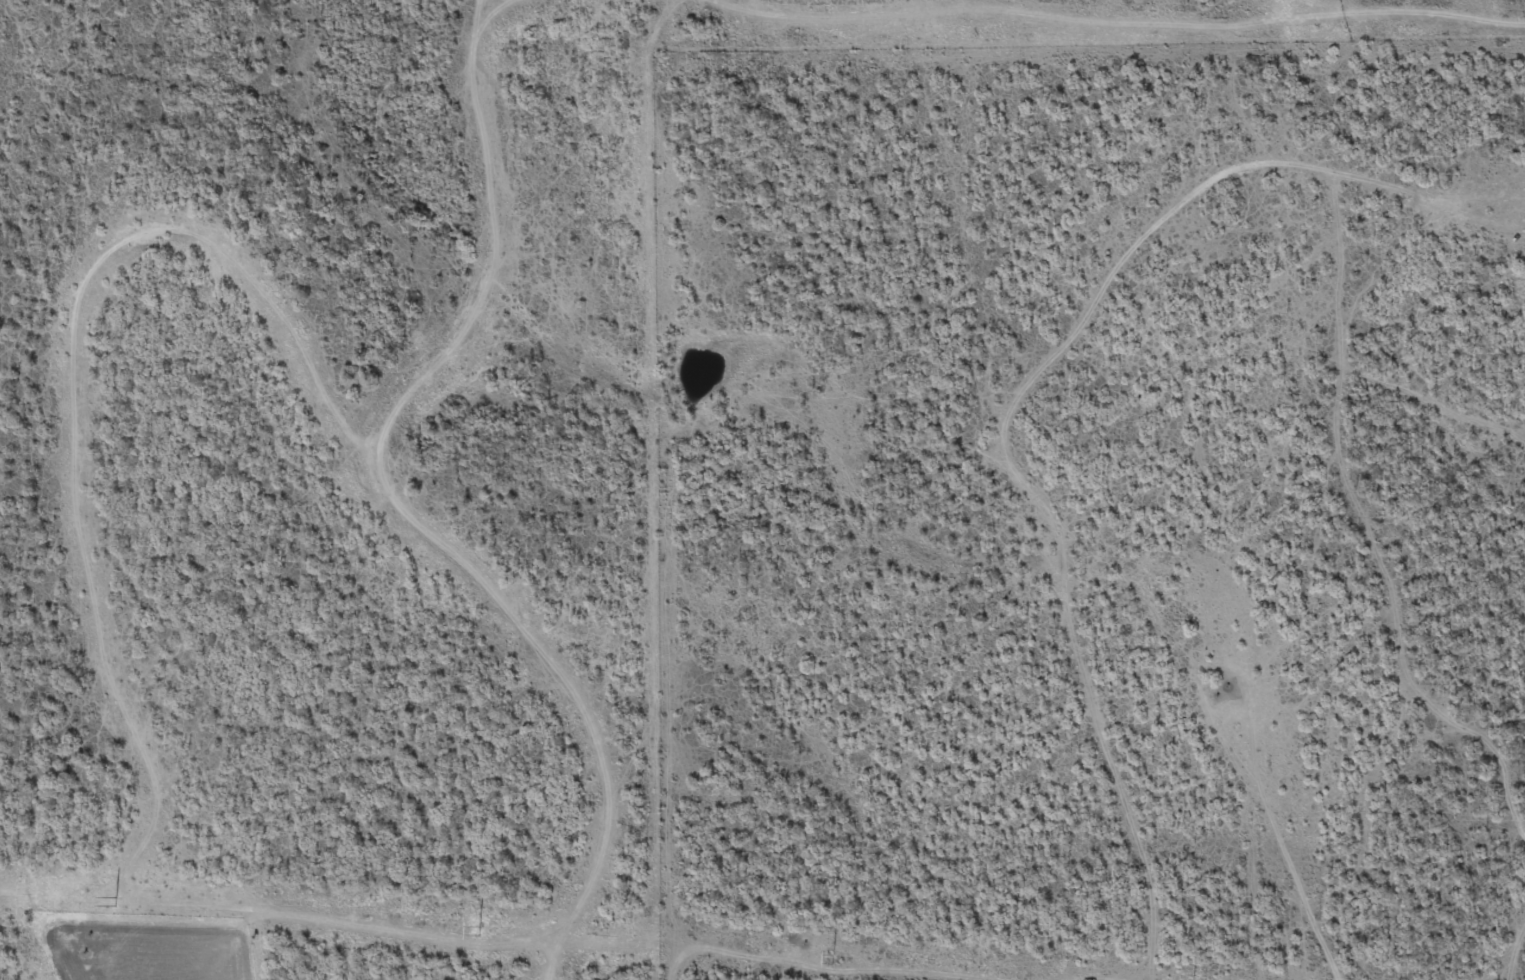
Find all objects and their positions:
power tower: (115, 902)
power tower: (478, 931)
power tower: (831, 960)

